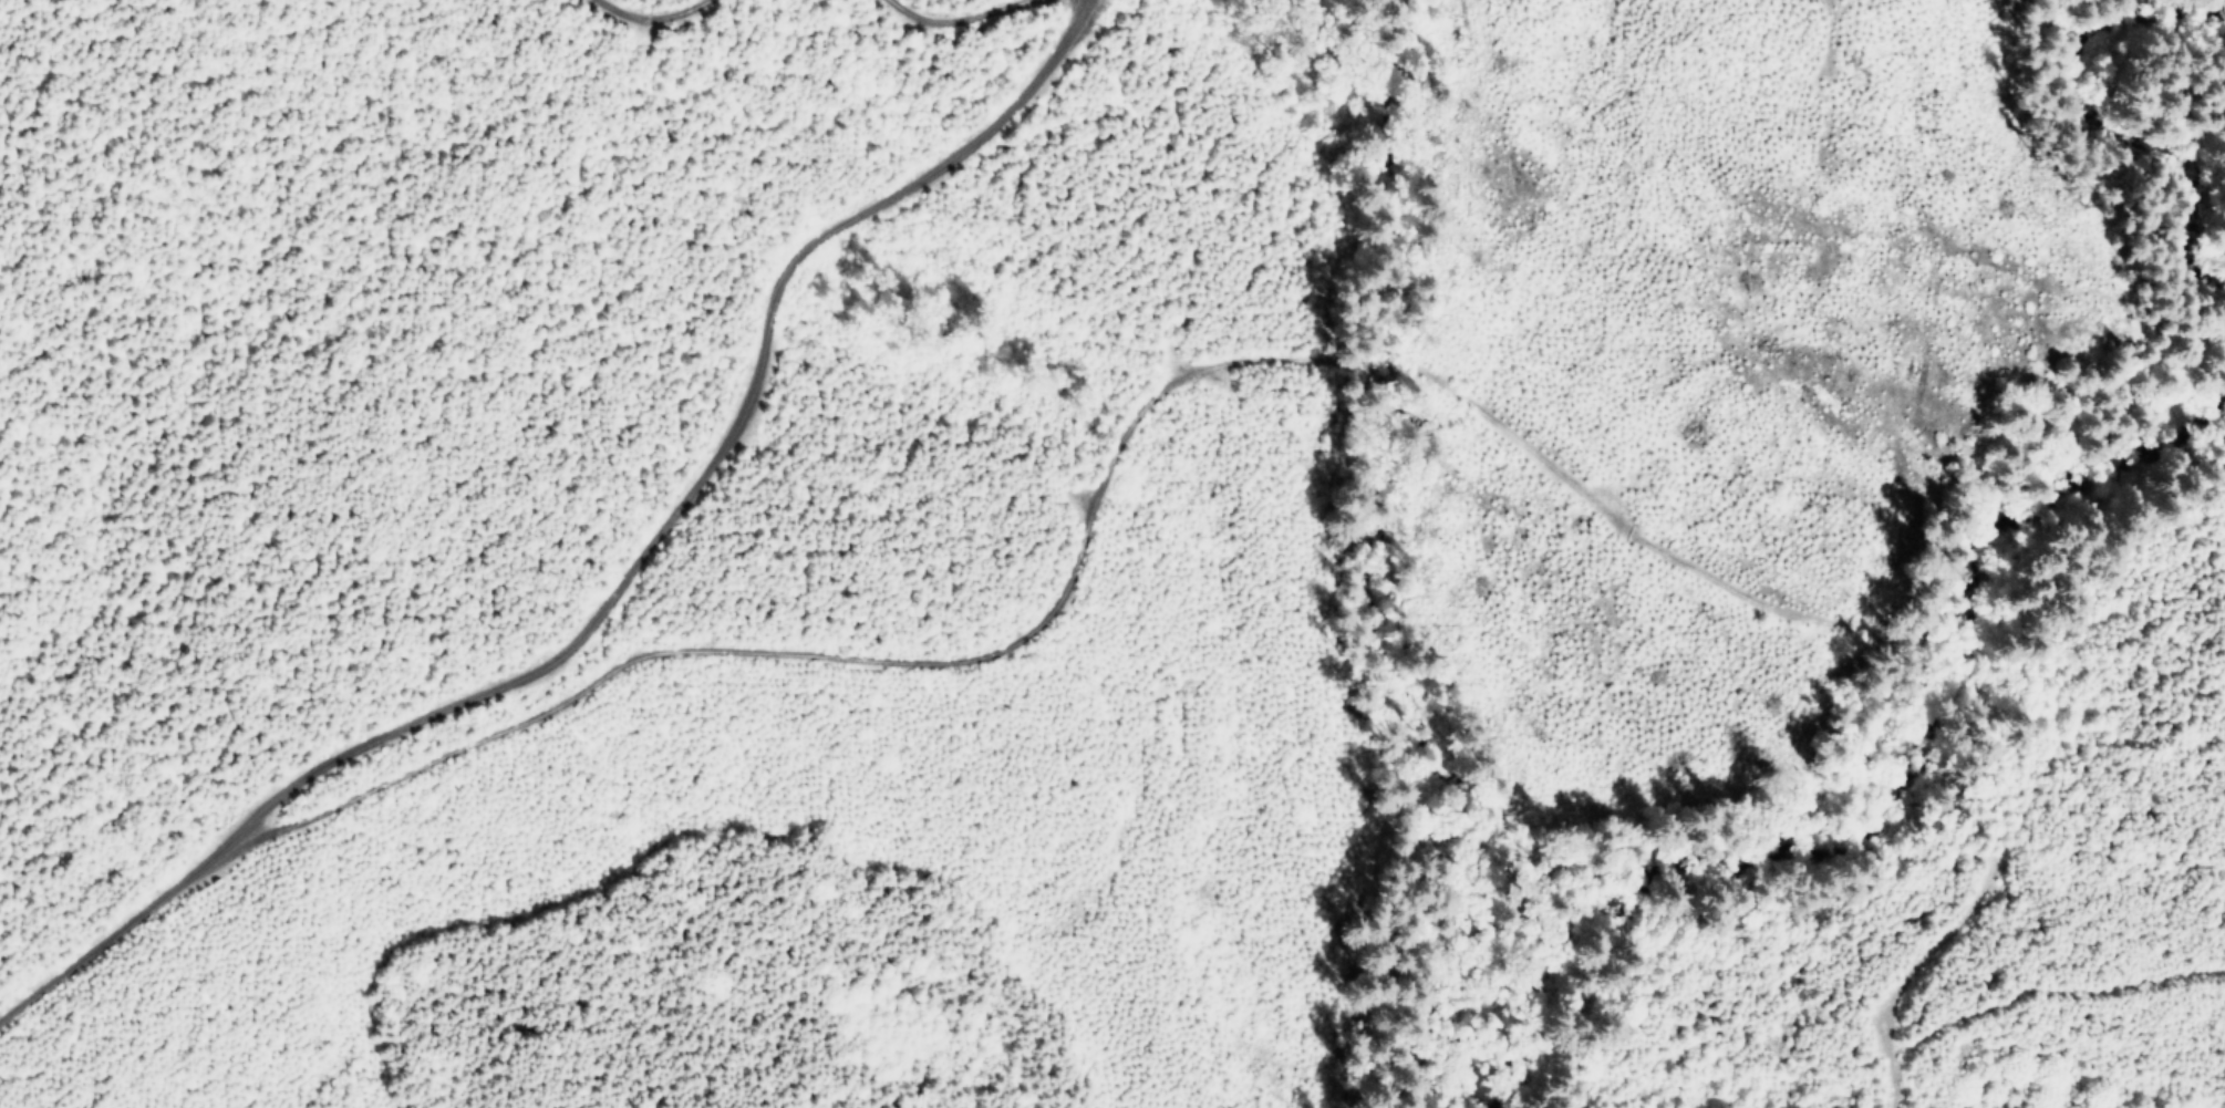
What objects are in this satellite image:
road: (661, 9)
road: (975, 15)
road: (628, 535)

